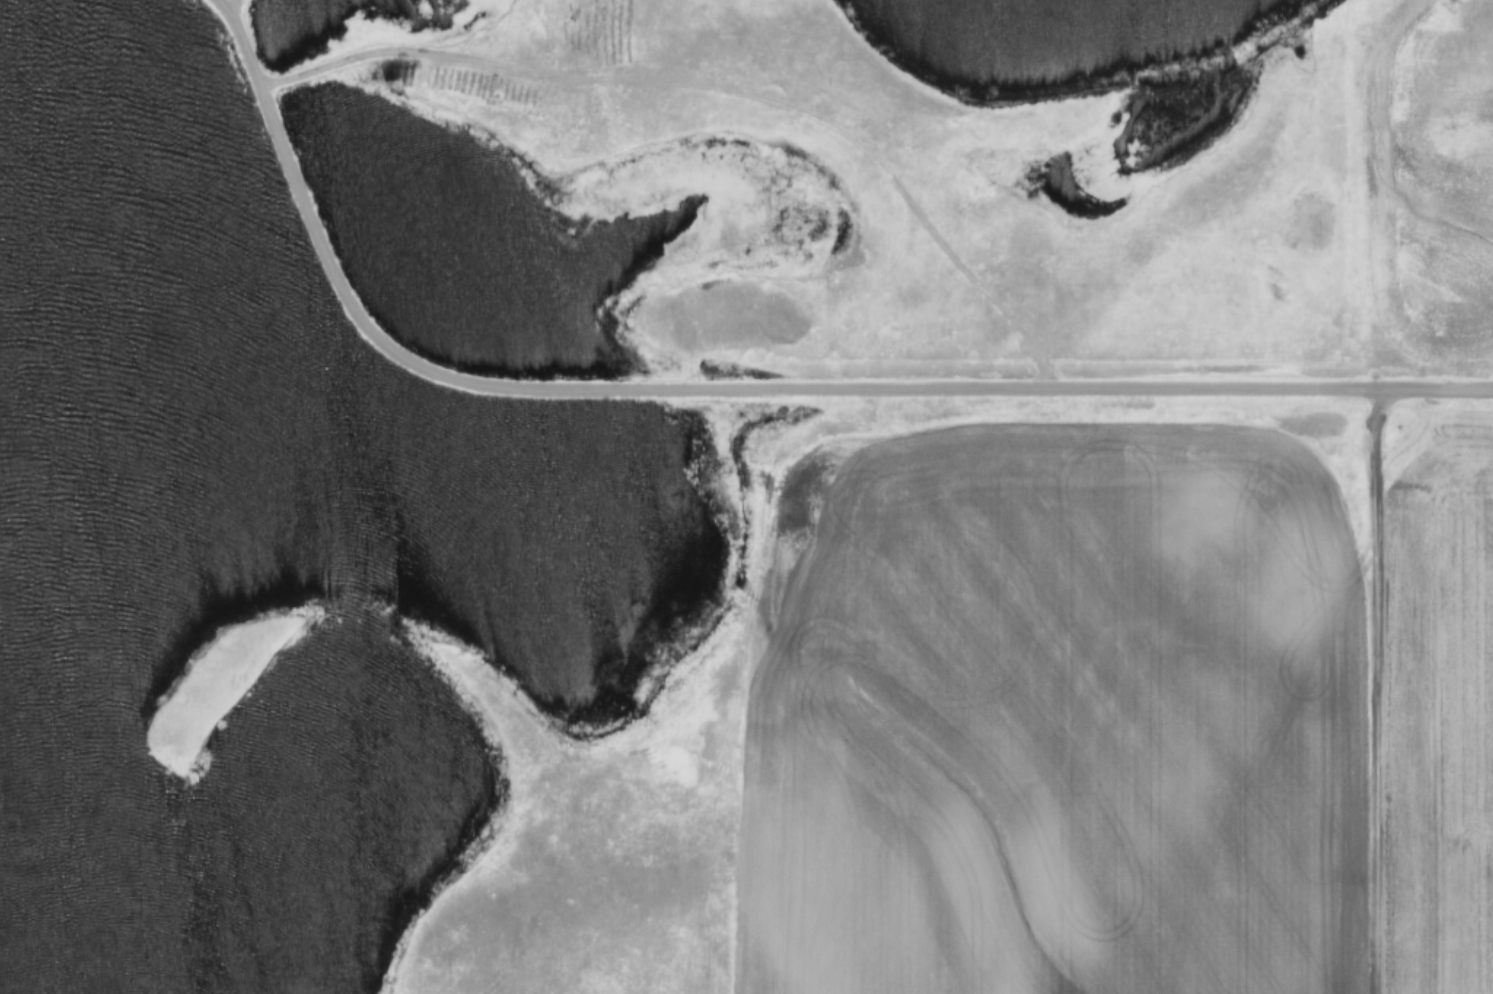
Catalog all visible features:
road: (243, 24)
road: (735, 396)
road: (1386, 691)

